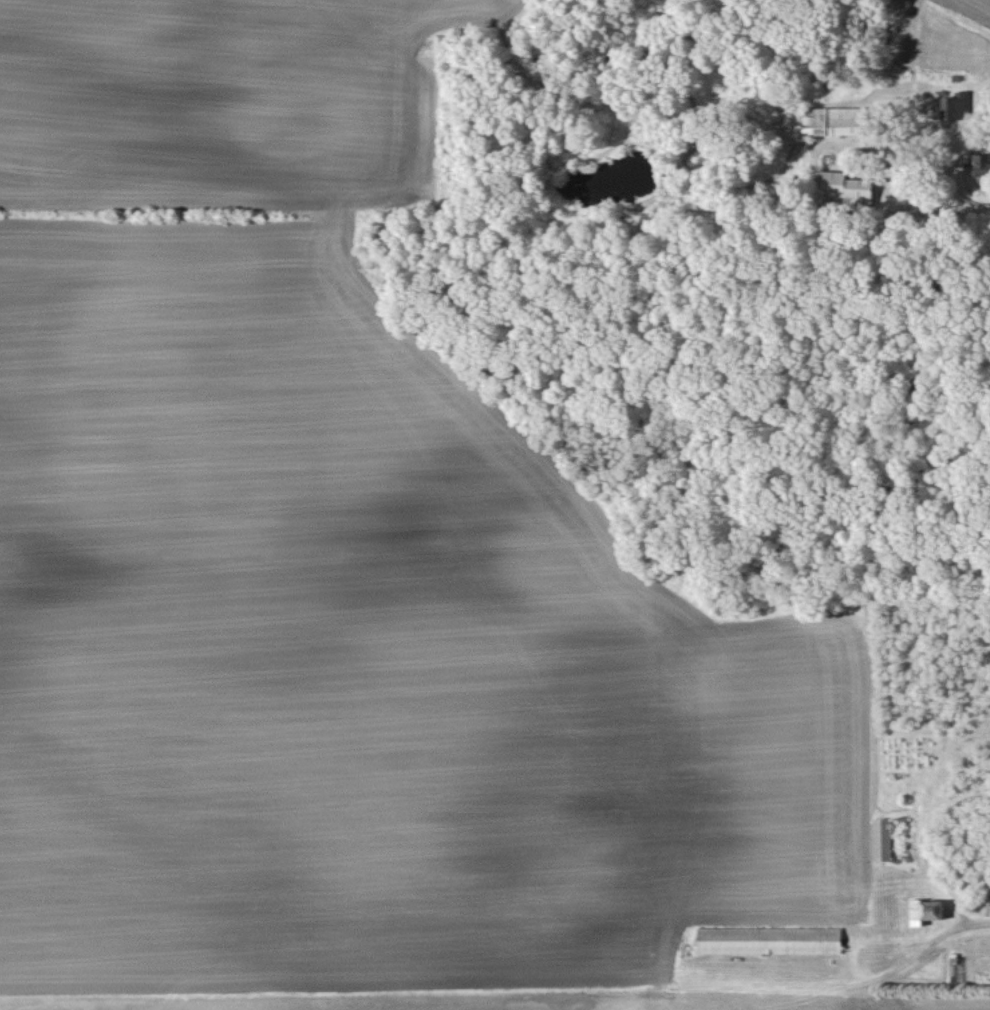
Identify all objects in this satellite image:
building: (955, 106)
building: (834, 121)
building: (981, 166)
building: (847, 187)
road: (939, 196)
building: (882, 838)
building: (989, 887)
building: (925, 910)
road: (974, 924)
building: (769, 939)

